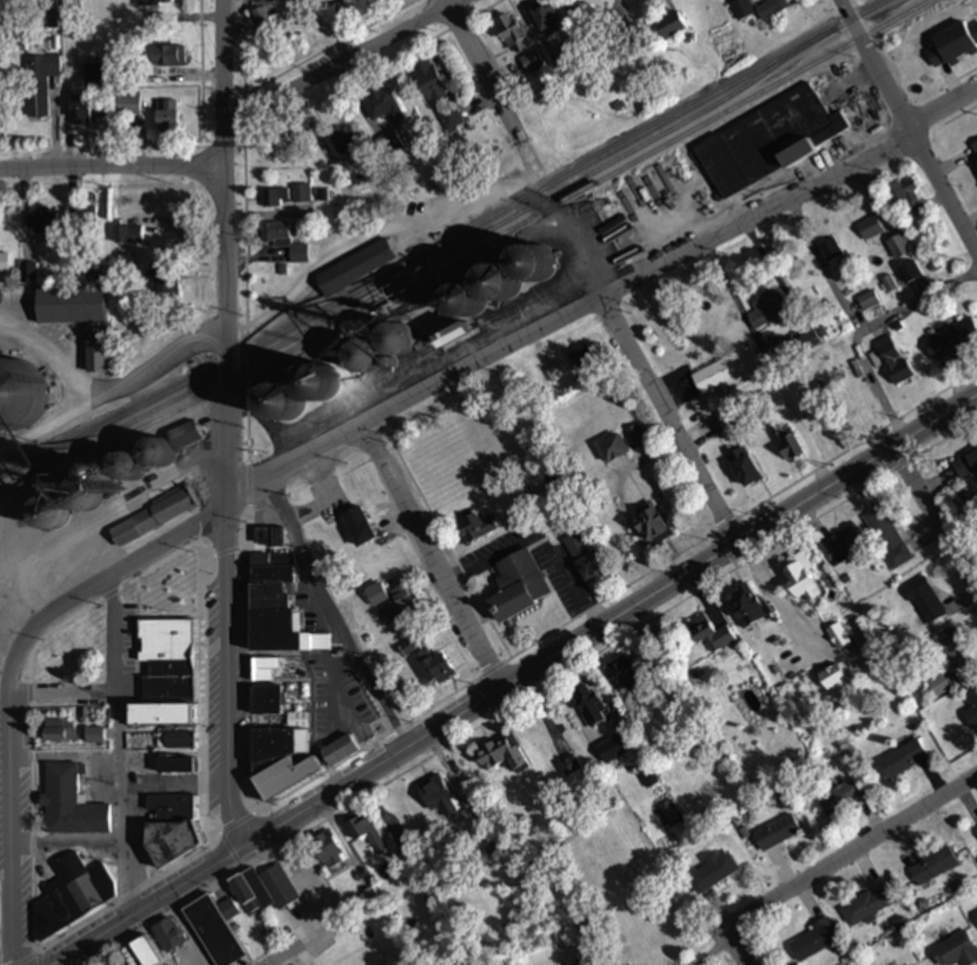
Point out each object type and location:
building: (155, 2)
building: (773, 8)
building: (1, 9)
building: (742, 9)
building: (264, 15)
building: (546, 15)
building: (671, 26)
building: (512, 33)
building: (953, 44)
building: (170, 55)
road: (341, 63)
road: (481, 70)
building: (430, 82)
building: (40, 84)
building: (128, 106)
building: (383, 107)
building: (80, 111)
building: (167, 115)
building: (450, 119)
road: (904, 123)
building: (344, 141)
building: (771, 142)
building: (390, 144)
building: (974, 151)
road: (112, 166)
building: (301, 194)
building: (904, 194)
building: (273, 198)
building: (84, 222)
building: (45, 223)
building: (871, 229)
building: (128, 235)
building: (285, 241)
railway: (445, 243)
building: (900, 246)
building: (831, 250)
railway: (469, 253)
road: (675, 260)
building: (5, 264)
railway: (428, 264)
building: (356, 266)
road: (824, 266)
building: (911, 272)
building: (29, 274)
building: (163, 282)
building: (869, 301)
building: (769, 311)
building: (79, 321)
building: (439, 325)
road: (865, 326)
building: (810, 341)
building: (953, 343)
building: (888, 351)
road: (635, 355)
building: (585, 360)
building: (729, 372)
road: (106, 392)
building: (15, 396)
road: (227, 423)
building: (636, 436)
building: (184, 437)
building: (788, 446)
building: (613, 449)
building: (431, 457)
building: (967, 467)
building: (744, 468)
road: (128, 497)
building: (448, 497)
building: (81, 508)
road: (934, 510)
building: (46, 516)
building: (154, 517)
building: (651, 524)
building: (358, 527)
building: (477, 528)
road: (169, 530)
building: (888, 538)
building: (841, 545)
building: (584, 556)
road: (435, 558)
building: (800, 582)
building: (519, 587)
building: (925, 601)
building: (401, 604)
building: (748, 607)
building: (277, 610)
road: (326, 618)
building: (166, 635)
building: (711, 636)
building: (953, 649)
building: (429, 662)
building: (800, 663)
building: (269, 669)
road: (516, 678)
building: (625, 678)
building: (833, 678)
road: (64, 693)
building: (266, 701)
building: (972, 708)
building: (161, 715)
building: (60, 732)
building: (95, 736)
building: (283, 740)
building: (177, 741)
road: (122, 743)
building: (704, 747)
building: (612, 750)
building: (340, 752)
building: (502, 757)
building: (903, 760)
building: (176, 765)
building: (571, 767)
building: (649, 777)
building: (284, 779)
building: (436, 796)
building: (847, 796)
building: (71, 804)
road: (8, 817)
building: (172, 829)
building: (976, 829)
building: (367, 834)
building: (777, 834)
building: (328, 851)
road: (856, 855)
building: (934, 867)
building: (713, 872)
building: (269, 889)
building: (73, 896)
road: (330, 905)
building: (869, 906)
building: (976, 914)
road: (186, 930)
building: (214, 932)
building: (168, 936)
building: (814, 942)
road: (745, 950)
building: (956, 951)
building: (146, 952)
building: (122, 963)

